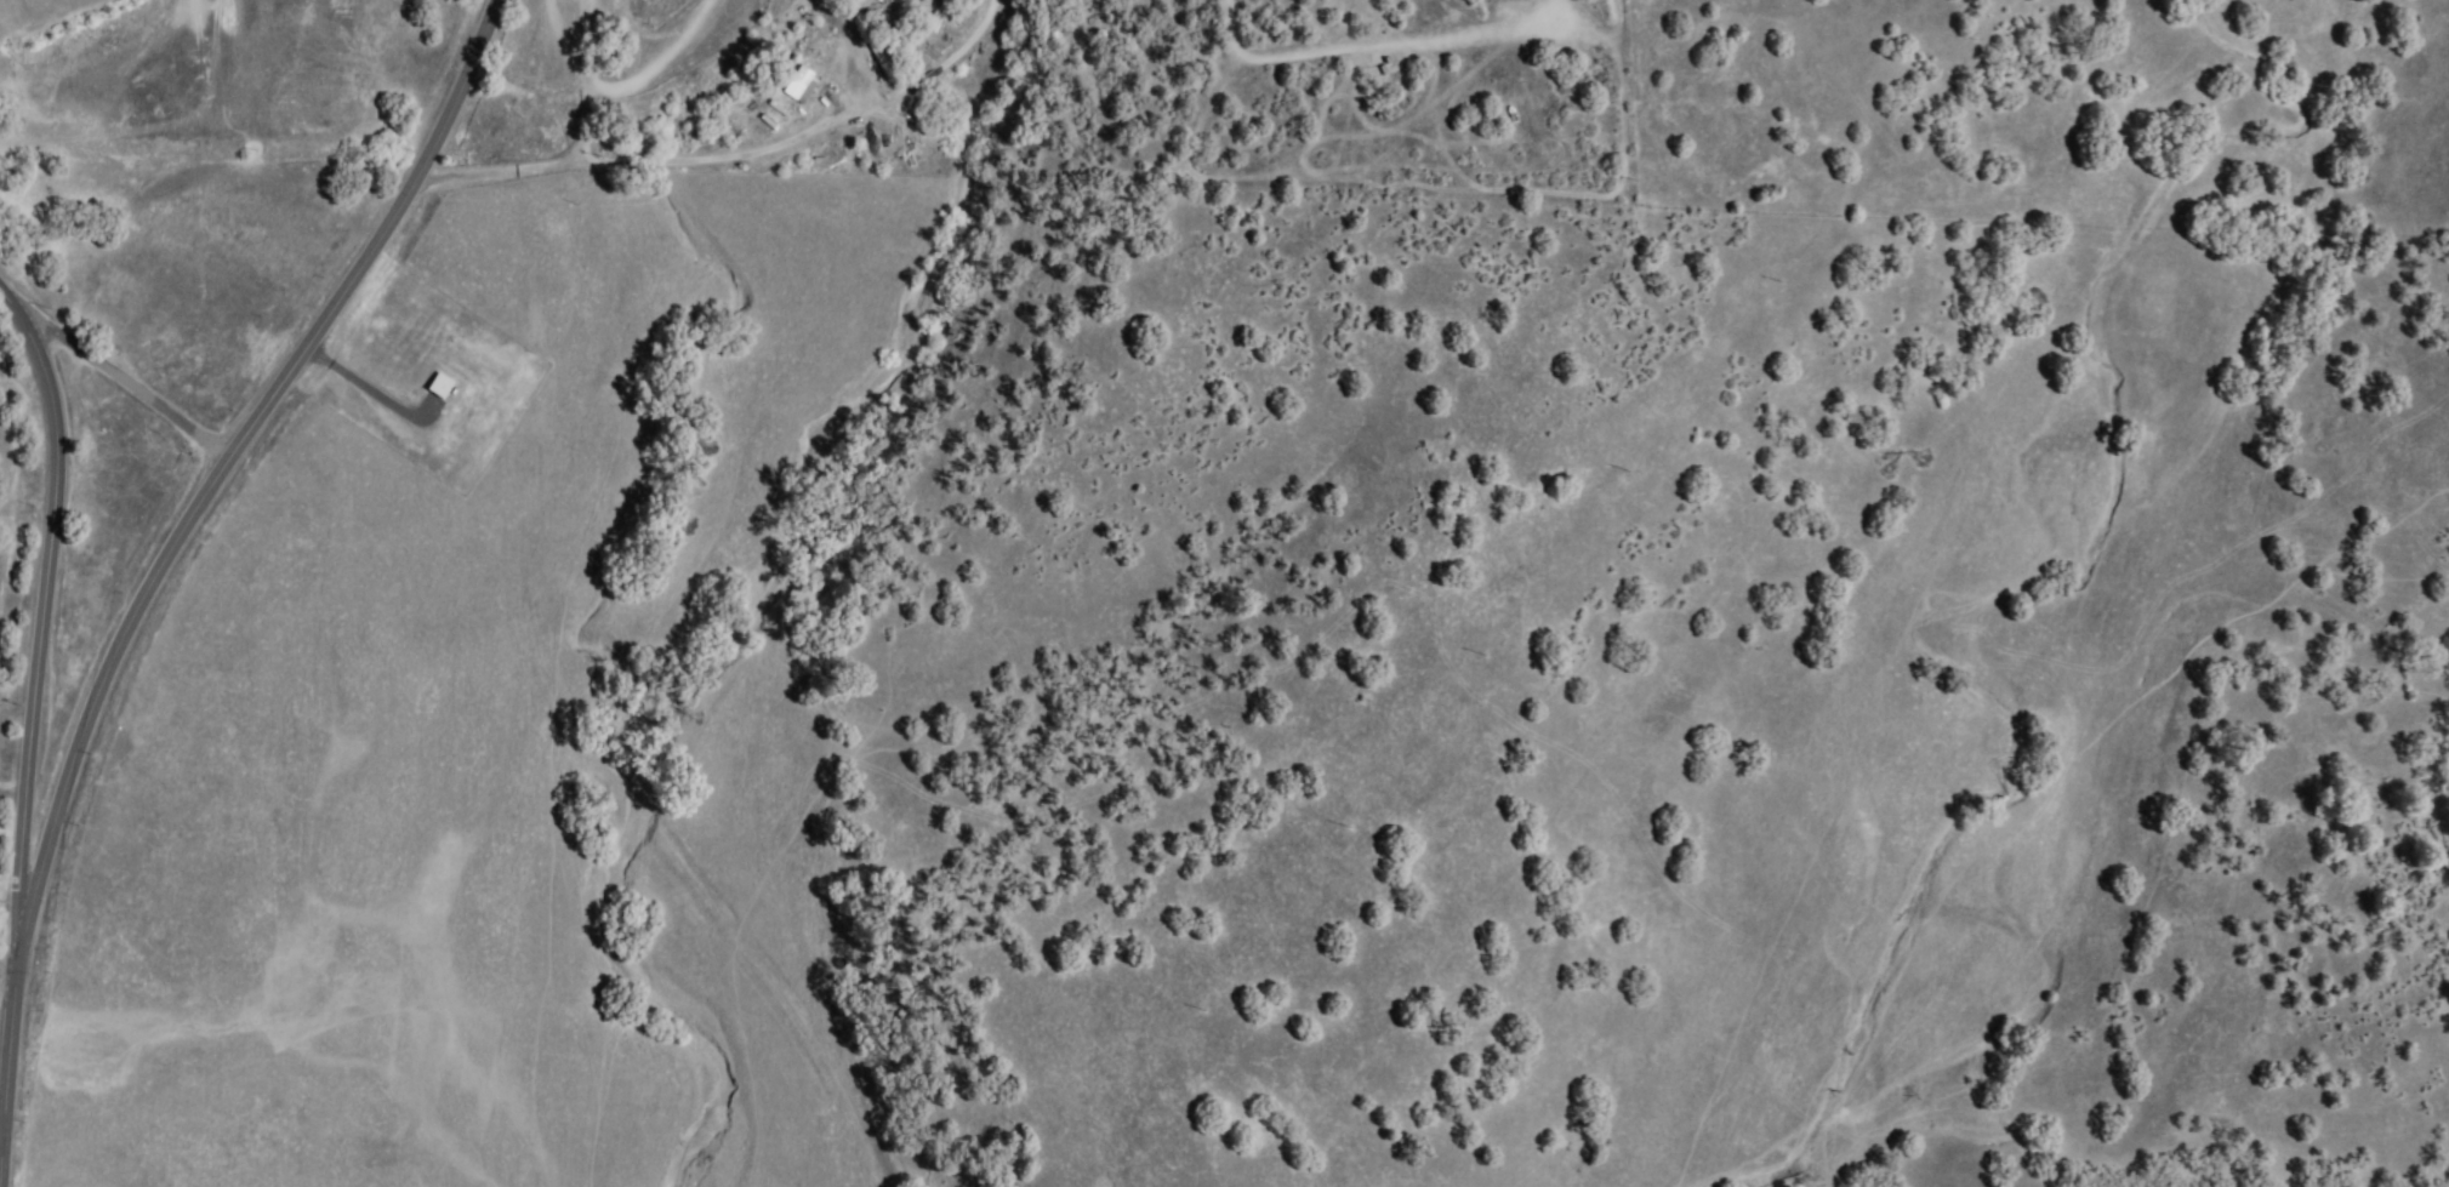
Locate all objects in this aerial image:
building: (802, 86)
road: (691, 160)
road: (13, 308)
road: (131, 384)
building: (440, 387)
road: (170, 554)
road: (41, 651)
road: (1, 1137)

